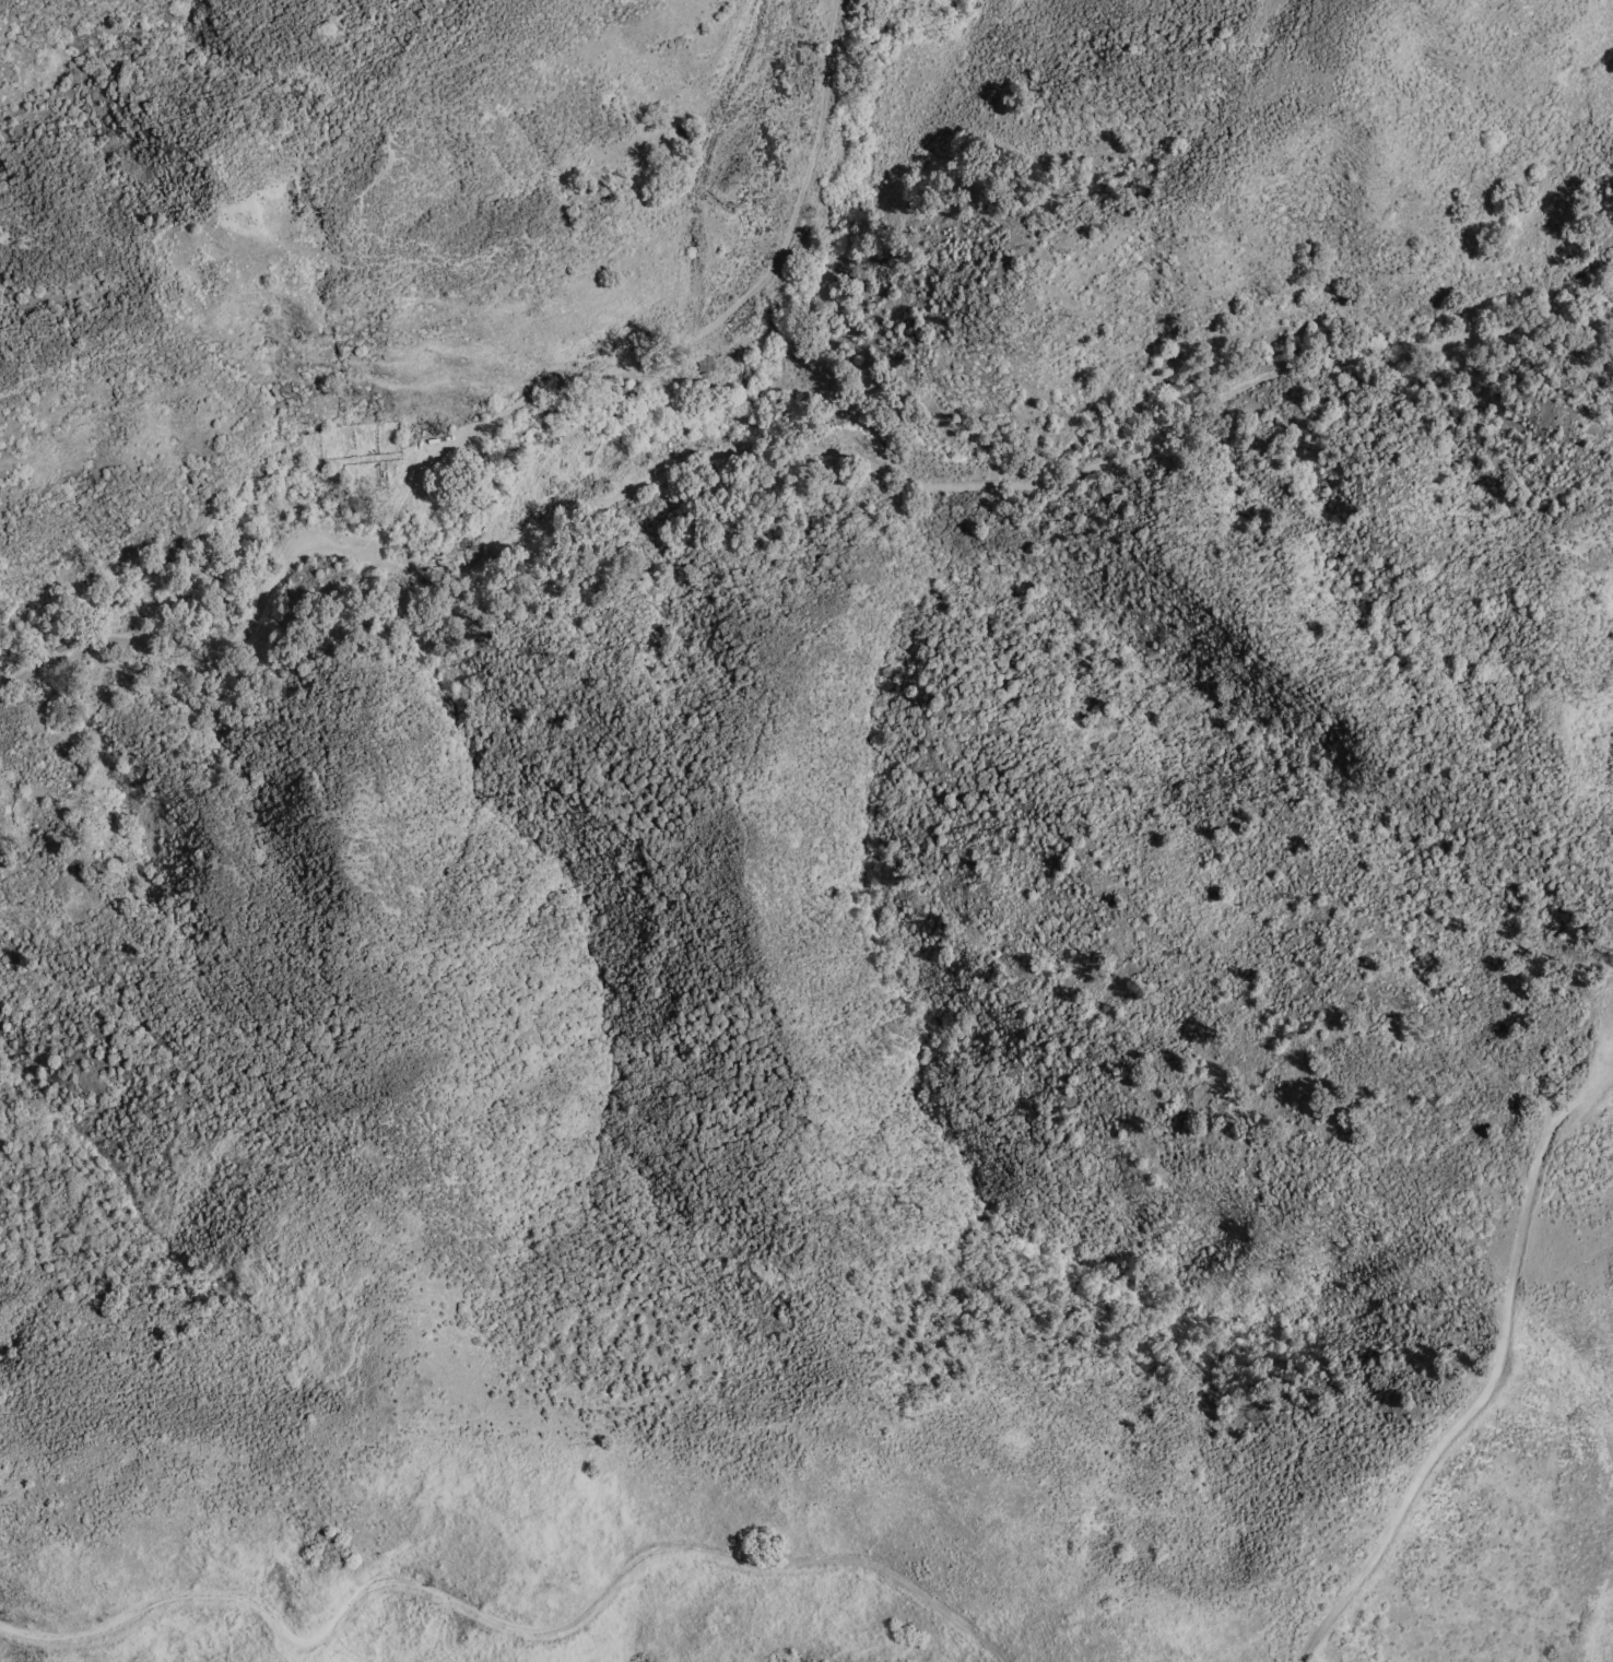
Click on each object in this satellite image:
road: (683, 339)
building: (705, 362)
road: (996, 486)
road: (202, 632)
road: (1491, 1376)
road: (504, 1623)

